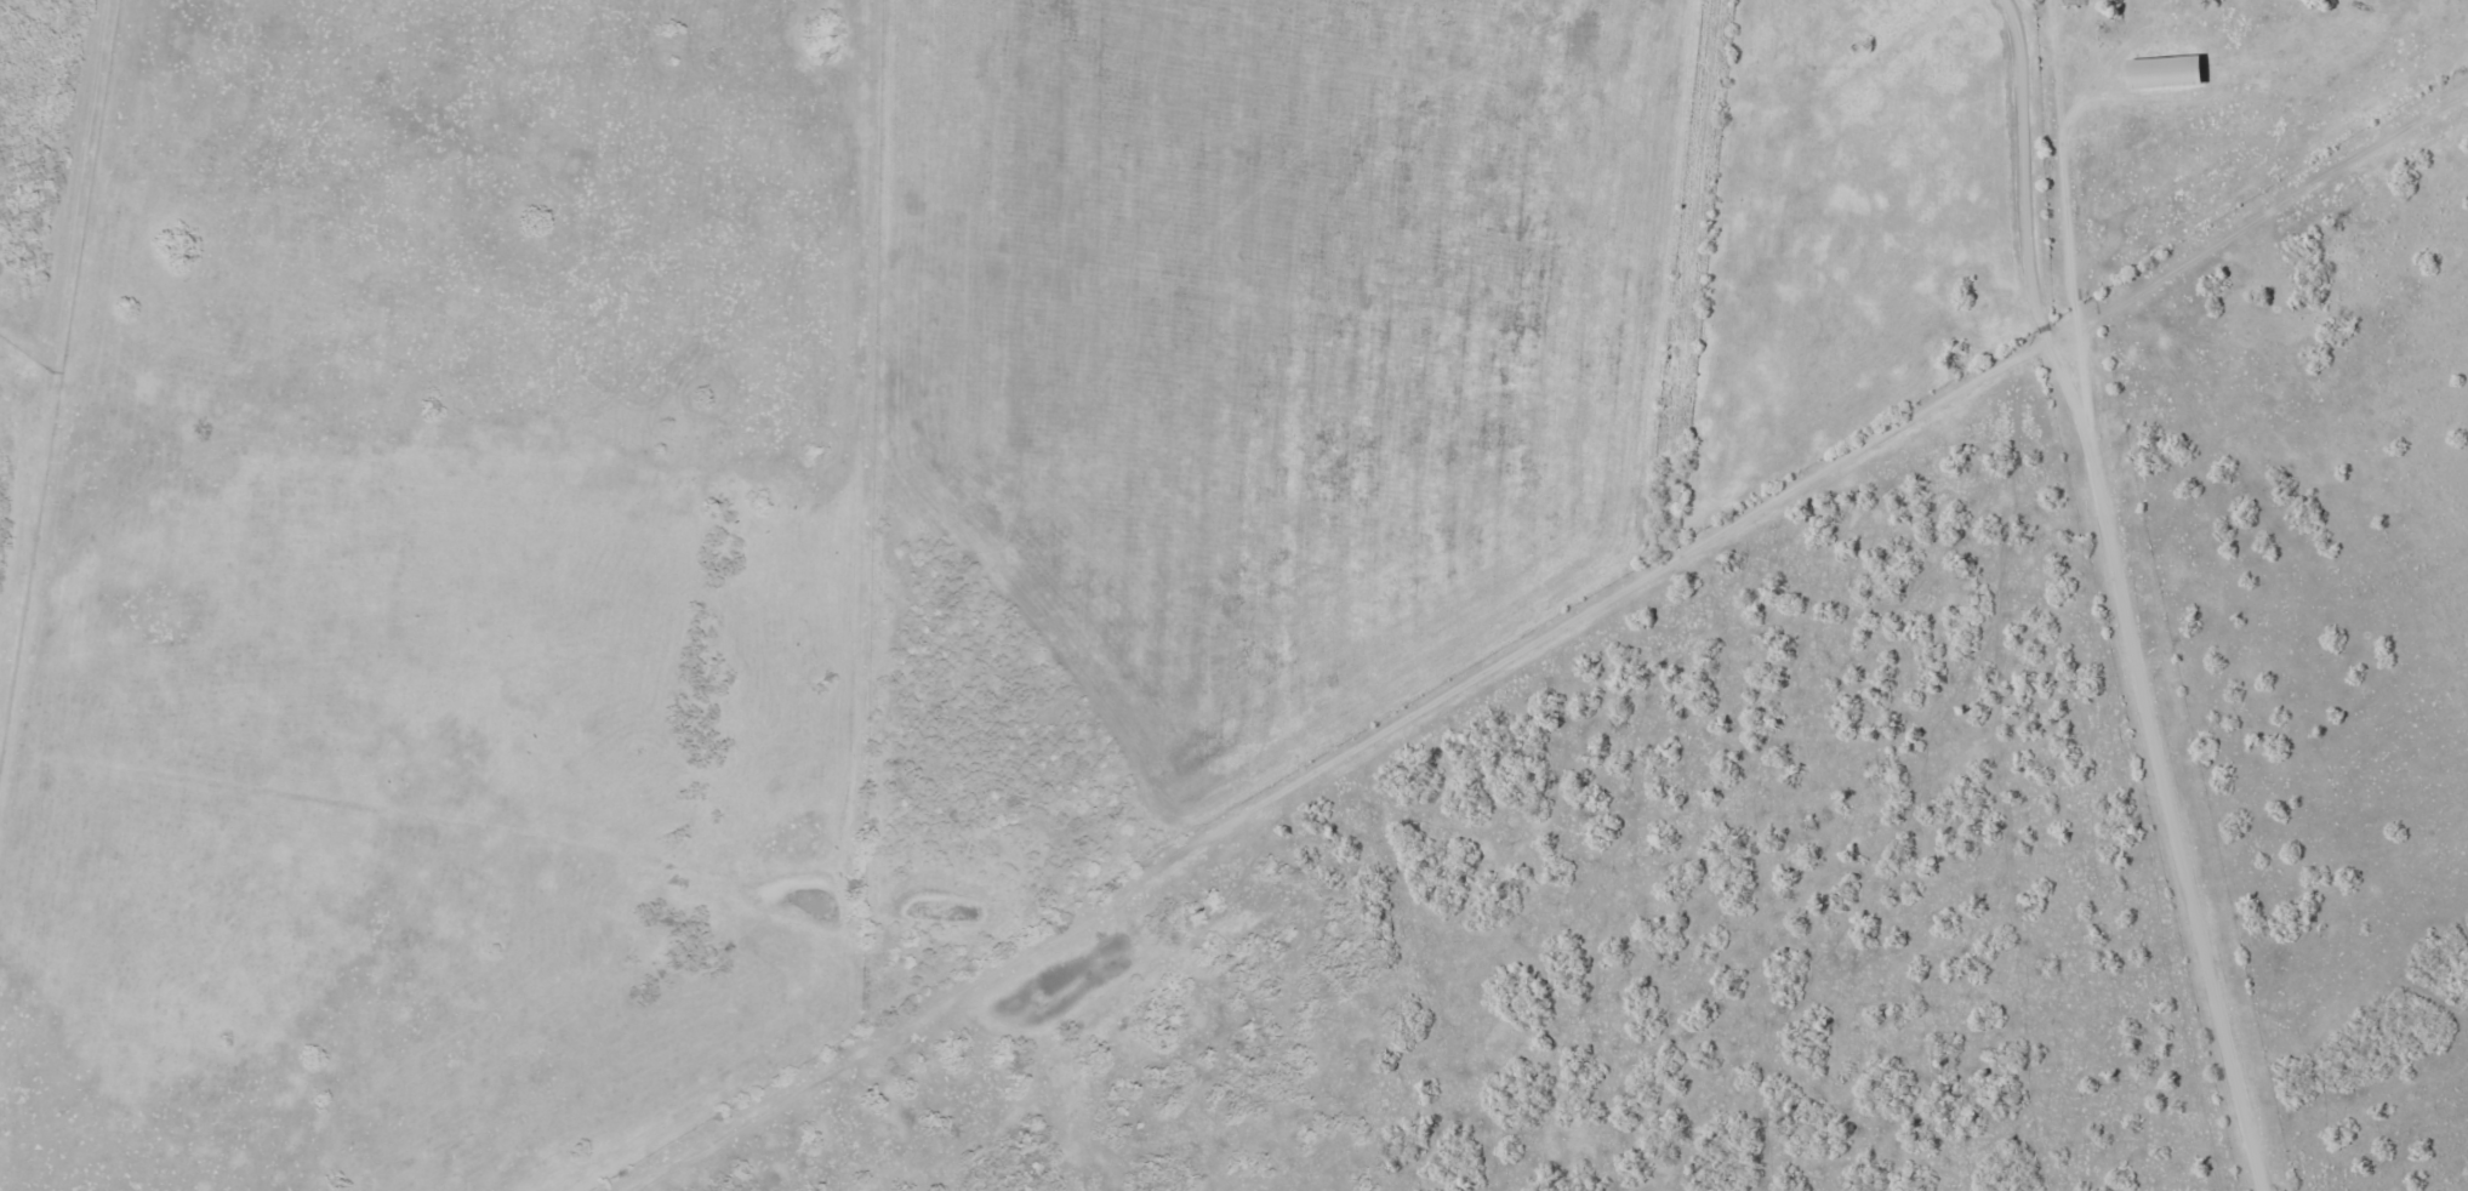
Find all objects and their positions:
building: (2070, 2)
building: (2162, 73)
road: (8, 366)
road: (2118, 597)

